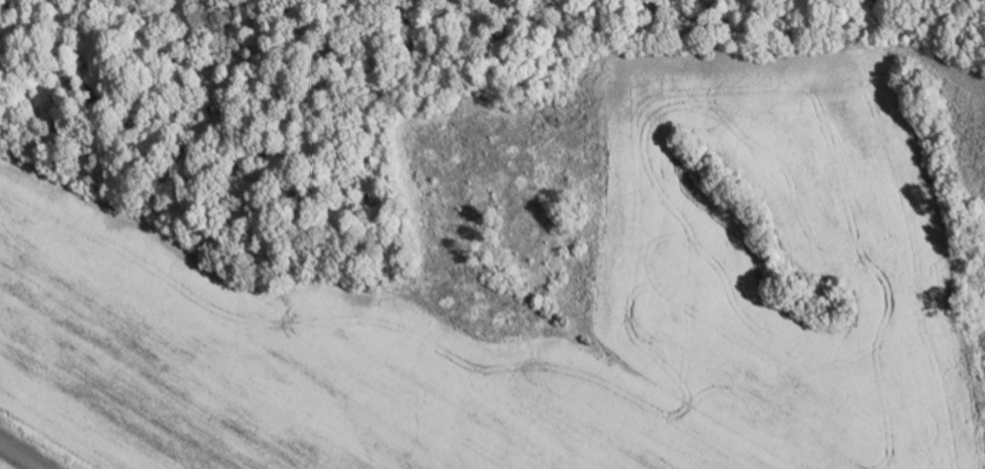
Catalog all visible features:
road: (21, 456)

